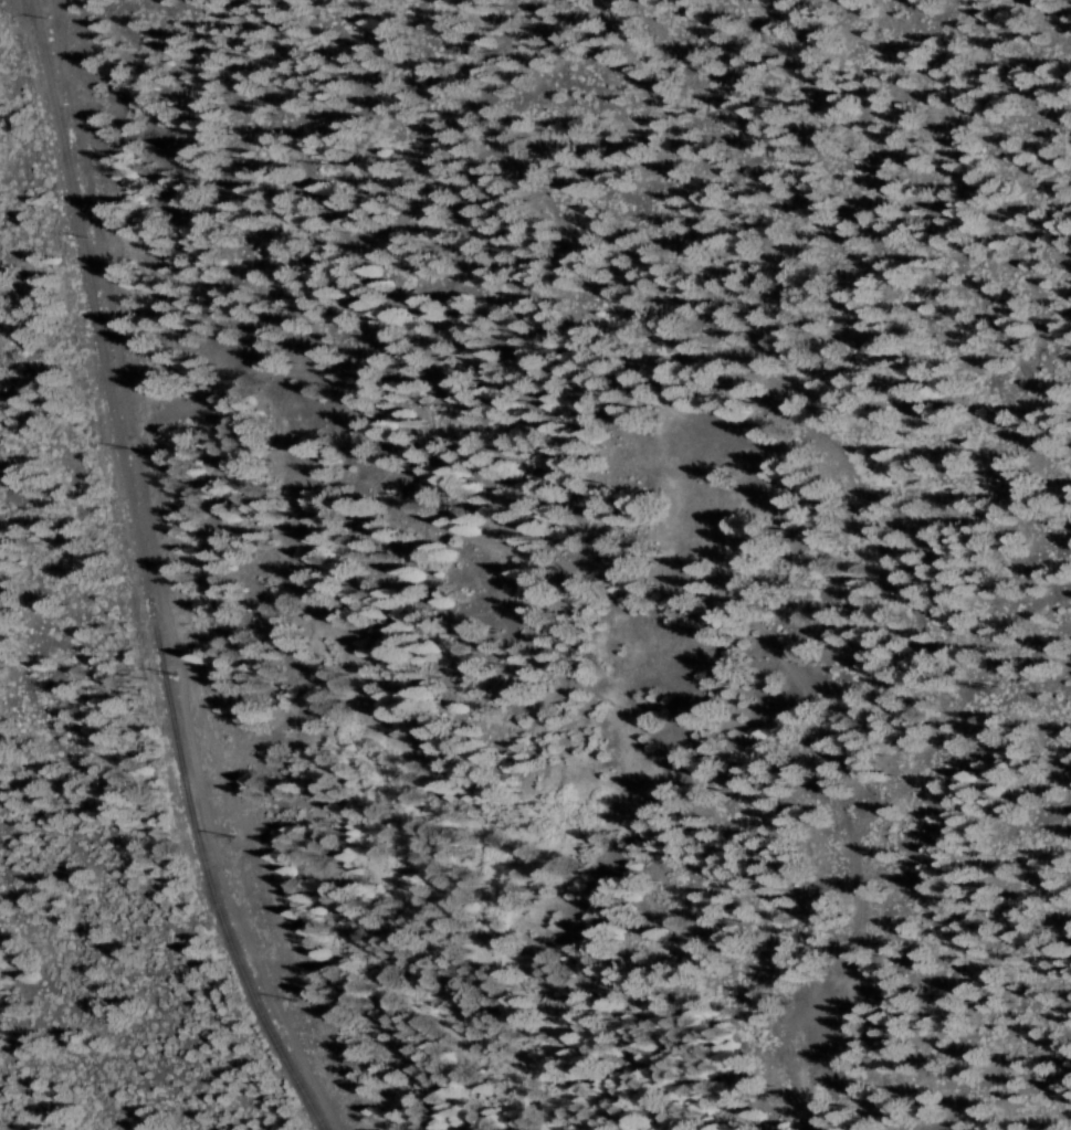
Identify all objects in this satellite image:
railway: (146, 577)

